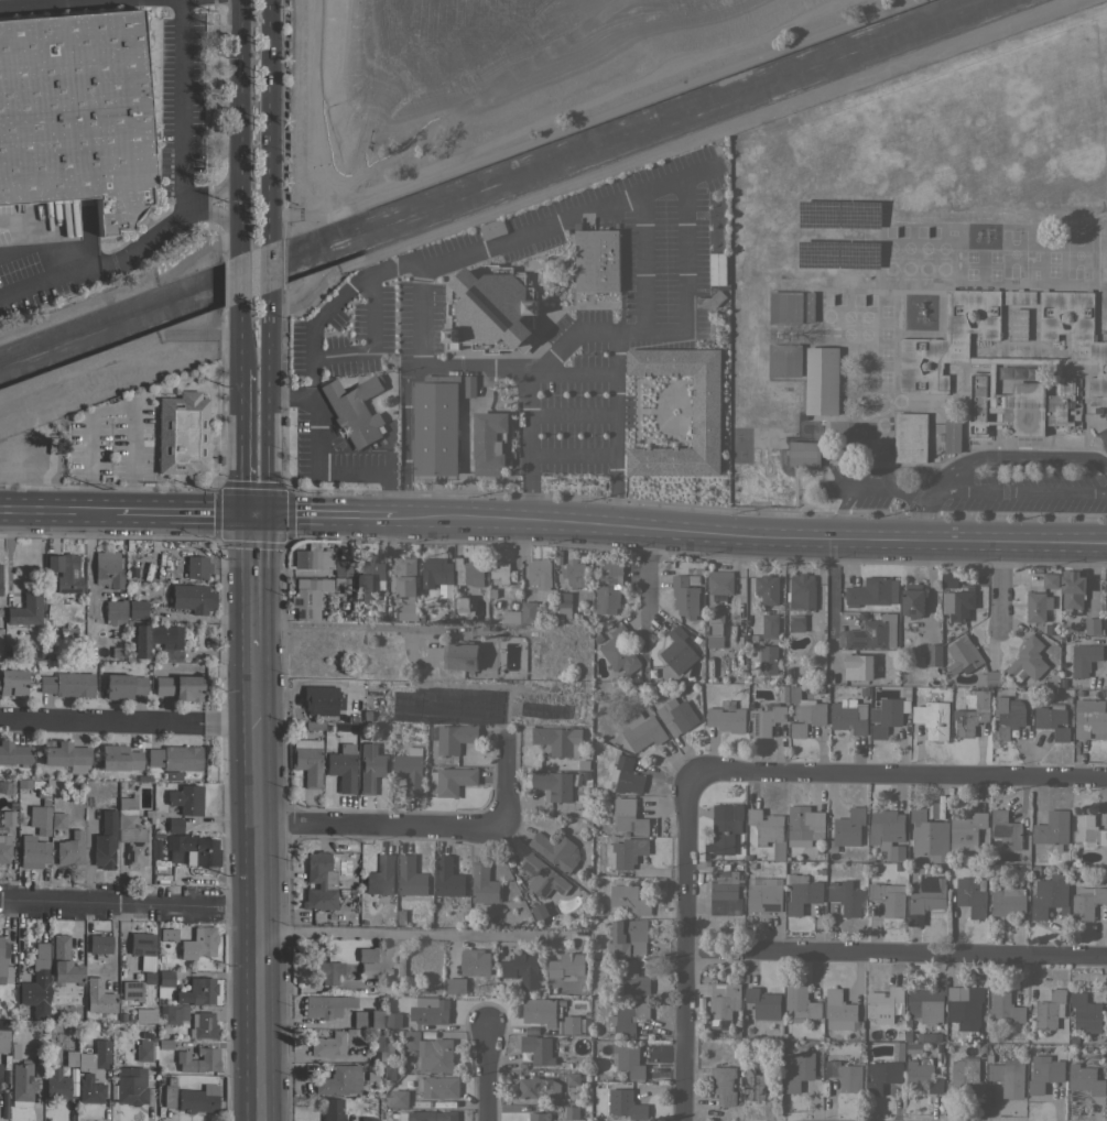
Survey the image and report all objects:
road: (66, 4)
quarry: (424, 58)
building: (75, 113)
road: (269, 122)
road: (240, 128)
road: (220, 195)
road: (194, 206)
road: (184, 208)
road: (220, 213)
building: (492, 228)
road: (644, 255)
building: (597, 260)
road: (377, 266)
road: (269, 269)
building: (717, 269)
road: (239, 279)
building: (709, 300)
building: (492, 307)
building: (785, 307)
building: (810, 307)
building: (1019, 324)
road: (675, 326)
road: (239, 336)
building: (1008, 359)
building: (784, 360)
road: (427, 364)
building: (822, 380)
building: (469, 385)
road: (268, 404)
road: (115, 407)
building: (354, 410)
building: (705, 411)
building: (772, 418)
building: (435, 426)
road: (615, 427)
building: (182, 434)
building: (910, 436)
building: (952, 436)
road: (240, 443)
building: (487, 445)
road: (528, 447)
building: (804, 454)
road: (989, 457)
road: (1018, 490)
road: (864, 491)
road: (56, 508)
road: (183, 511)
traffic signals: (253, 513)
road: (323, 515)
road: (749, 534)
building: (318, 562)
building: (195, 566)
building: (108, 569)
building: (64, 572)
building: (436, 572)
building: (500, 572)
building: (468, 573)
building: (574, 573)
building: (540, 574)
road: (253, 578)
building: (367, 579)
road: (645, 579)
building: (1050, 579)
building: (720, 585)
building: (405, 587)
road: (997, 587)
building: (766, 588)
building: (1073, 588)
building: (872, 591)
building: (608, 592)
building: (685, 595)
building: (307, 597)
building: (956, 597)
building: (192, 598)
building: (800, 600)
building: (912, 600)
building: (443, 601)
road: (832, 602)
building: (460, 603)
building: (564, 603)
building: (1038, 606)
building: (25, 609)
building: (137, 609)
building: (115, 611)
building: (529, 611)
building: (508, 617)
road: (380, 625)
building: (770, 625)
building: (1092, 625)
building: (871, 633)
building: (155, 638)
building: (538, 647)
building: (677, 650)
building: (619, 651)
building: (933, 654)
building: (460, 655)
building: (963, 655)
building: (1084, 657)
building: (768, 659)
building: (1028, 661)
building: (858, 666)
building: (988, 678)
building: (12, 682)
building: (67, 684)
building: (123, 686)
building: (178, 687)
building: (319, 699)
building: (542, 711)
building: (804, 712)
building: (972, 712)
building: (887, 715)
building: (676, 716)
building: (849, 716)
building: (1007, 717)
building: (933, 718)
building: (726, 719)
building: (766, 719)
building: (1090, 719)
building: (1052, 720)
road: (127, 723)
building: (314, 725)
building: (642, 730)
building: (453, 737)
building: (557, 740)
building: (14, 753)
building: (65, 755)
building: (119, 758)
building: (174, 758)
building: (307, 760)
building: (370, 766)
building: (410, 769)
building: (341, 770)
road: (903, 774)
building: (626, 775)
building: (453, 780)
building: (553, 784)
building: (6, 787)
building: (186, 798)
building: (938, 812)
building: (43, 814)
building: (627, 816)
building: (8, 818)
building: (57, 819)
building: (174, 825)
road: (425, 825)
building: (766, 826)
building: (802, 826)
building: (847, 828)
building: (1052, 828)
building: (1005, 829)
building: (130, 830)
building: (725, 830)
building: (966, 830)
building: (887, 831)
building: (1087, 831)
building: (929, 835)
building: (105, 840)
building: (4, 849)
building: (70, 849)
building: (193, 849)
building: (556, 850)
building: (34, 851)
building: (625, 852)
building: (380, 877)
building: (411, 877)
building: (447, 877)
building: (542, 878)
road: (258, 882)
building: (319, 882)
building: (484, 886)
building: (724, 893)
building: (802, 893)
building: (1049, 894)
building: (972, 895)
building: (846, 896)
building: (763, 897)
building: (888, 897)
building: (925, 897)
building: (629, 900)
building: (1009, 902)
building: (1087, 902)
road: (129, 906)
building: (167, 934)
road: (410, 935)
building: (627, 937)
road: (682, 940)
building: (99, 944)
building: (199, 944)
building: (142, 949)
building: (367, 954)
road: (894, 955)
building: (2, 959)
building: (475, 961)
building: (64, 962)
building: (566, 965)
building: (522, 967)
building: (367, 969)
building: (401, 970)
building: (326, 971)
building: (35, 978)
building: (164, 978)
building: (632, 979)
building: (455, 986)
building: (131, 990)
building: (197, 991)
building: (97, 997)
building: (724, 1001)
building: (927, 1002)
building: (763, 1003)
building: (801, 1003)
building: (883, 1003)
building: (322, 1006)
building: (1006, 1008)
building: (966, 1009)
building: (1050, 1009)
building: (428, 1010)
building: (541, 1010)
building: (839, 1011)
building: (172, 1013)
building: (1085, 1013)
building: (144, 1015)
building: (366, 1019)
building: (392, 1020)
building: (627, 1020)
building: (1106, 1021)
building: (571, 1024)
building: (204, 1025)
building: (929, 1036)
building: (352, 1037)
building: (3, 1040)
building: (327, 1045)
building: (382, 1046)
building: (913, 1047)
building: (538, 1048)
building: (143, 1051)
building: (430, 1052)
building: (894, 1053)
building: (86, 1057)
building: (627, 1058)
building: (198, 1059)
building: (102, 1060)
building: (0, 1069)
building: (797, 1069)
building: (1044, 1073)
building: (922, 1075)
building: (962, 1075)
road: (488, 1076)
building: (882, 1076)
building: (1008, 1076)
building: (572, 1078)
building: (340, 1079)
building: (846, 1079)
building: (1085, 1079)
building: (758, 1081)
building: (22, 1084)
building: (55, 1084)
building: (723, 1084)
building: (438, 1086)
building: (131, 1087)
building: (539, 1088)
building: (95, 1092)
building: (169, 1092)
building: (399, 1098)
building: (197, 1099)
building: (627, 1104)
building: (332, 1110)
building: (571, 1112)
building: (427, 1115)
building: (539, 1117)
building: (368, 1119)

